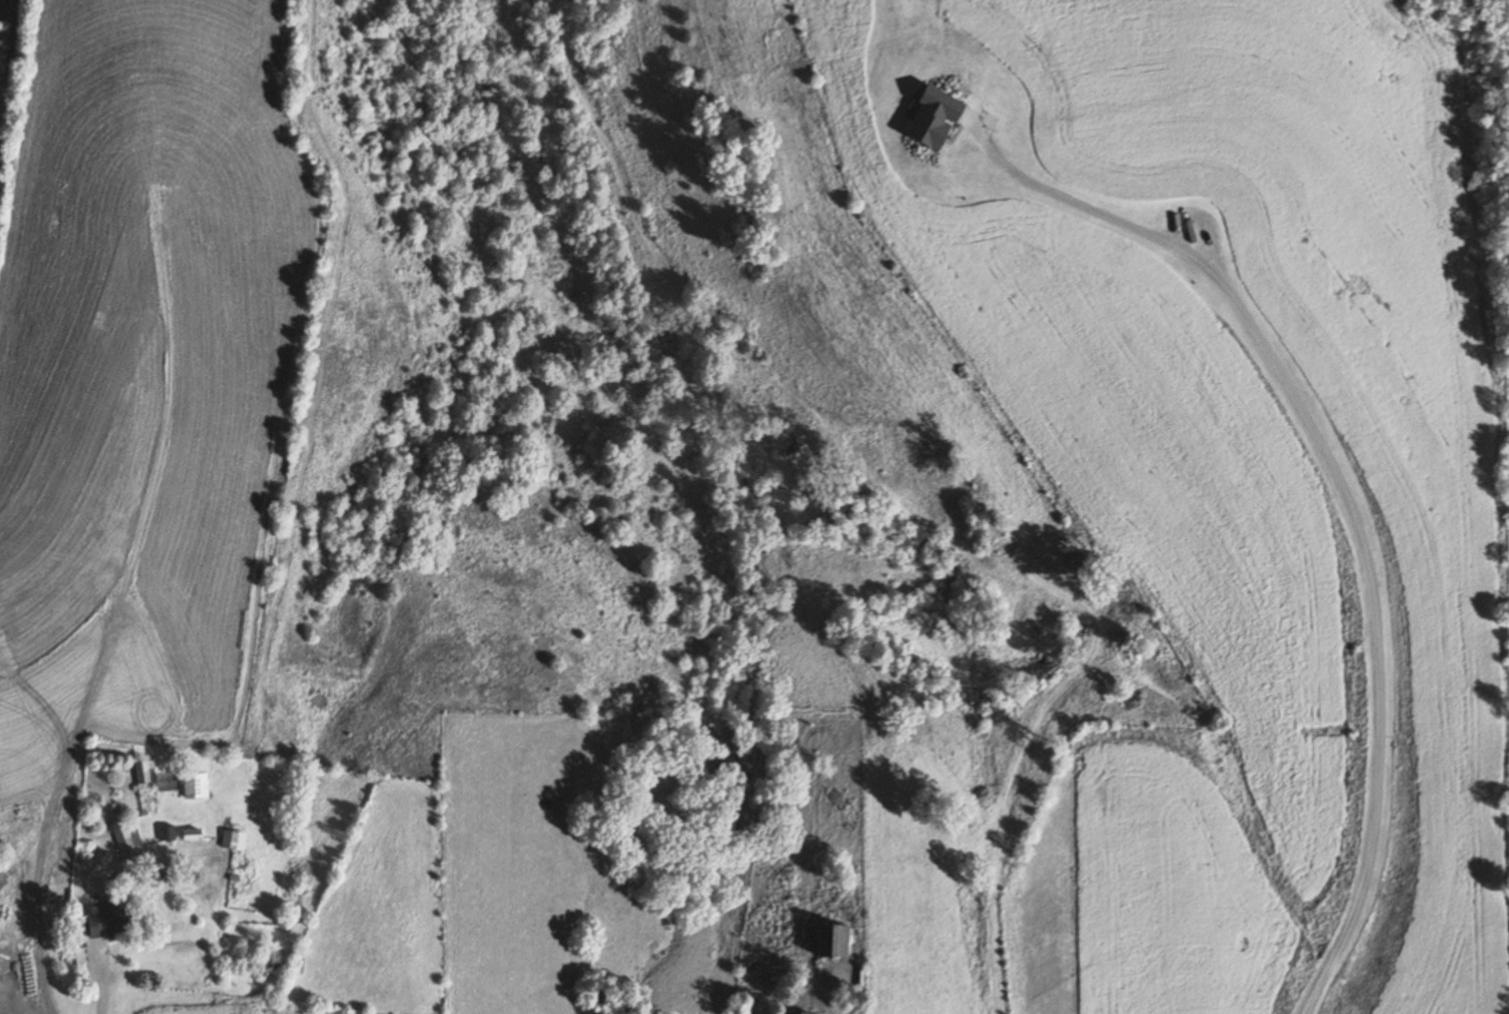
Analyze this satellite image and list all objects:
road: (1346, 499)
building: (146, 773)
building: (196, 787)
building: (169, 835)
building: (128, 837)
building: (195, 837)
building: (235, 841)
building: (113, 924)
building: (836, 943)
road: (834, 968)
road: (99, 991)
building: (795, 1013)

